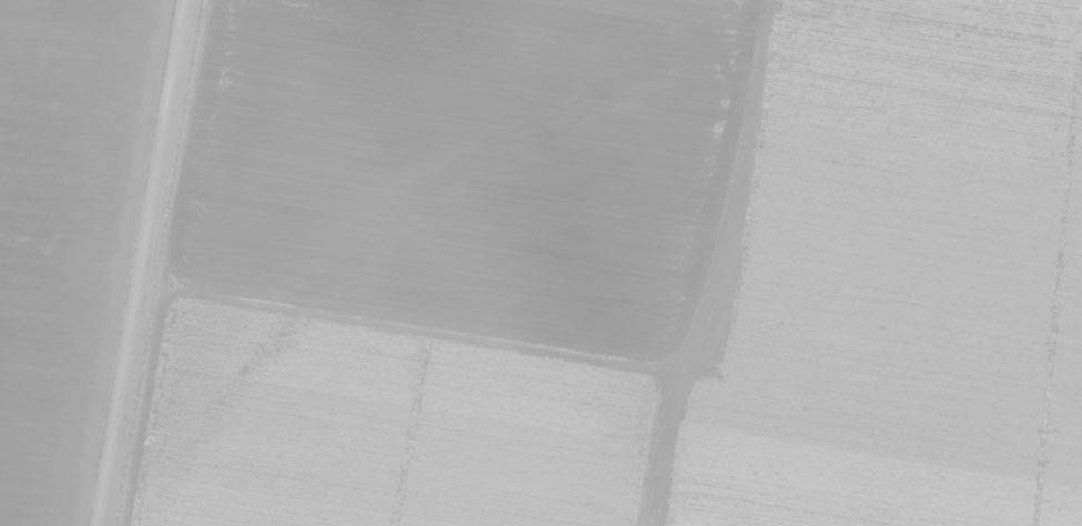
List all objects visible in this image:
road: (995, 13)
road: (145, 263)

